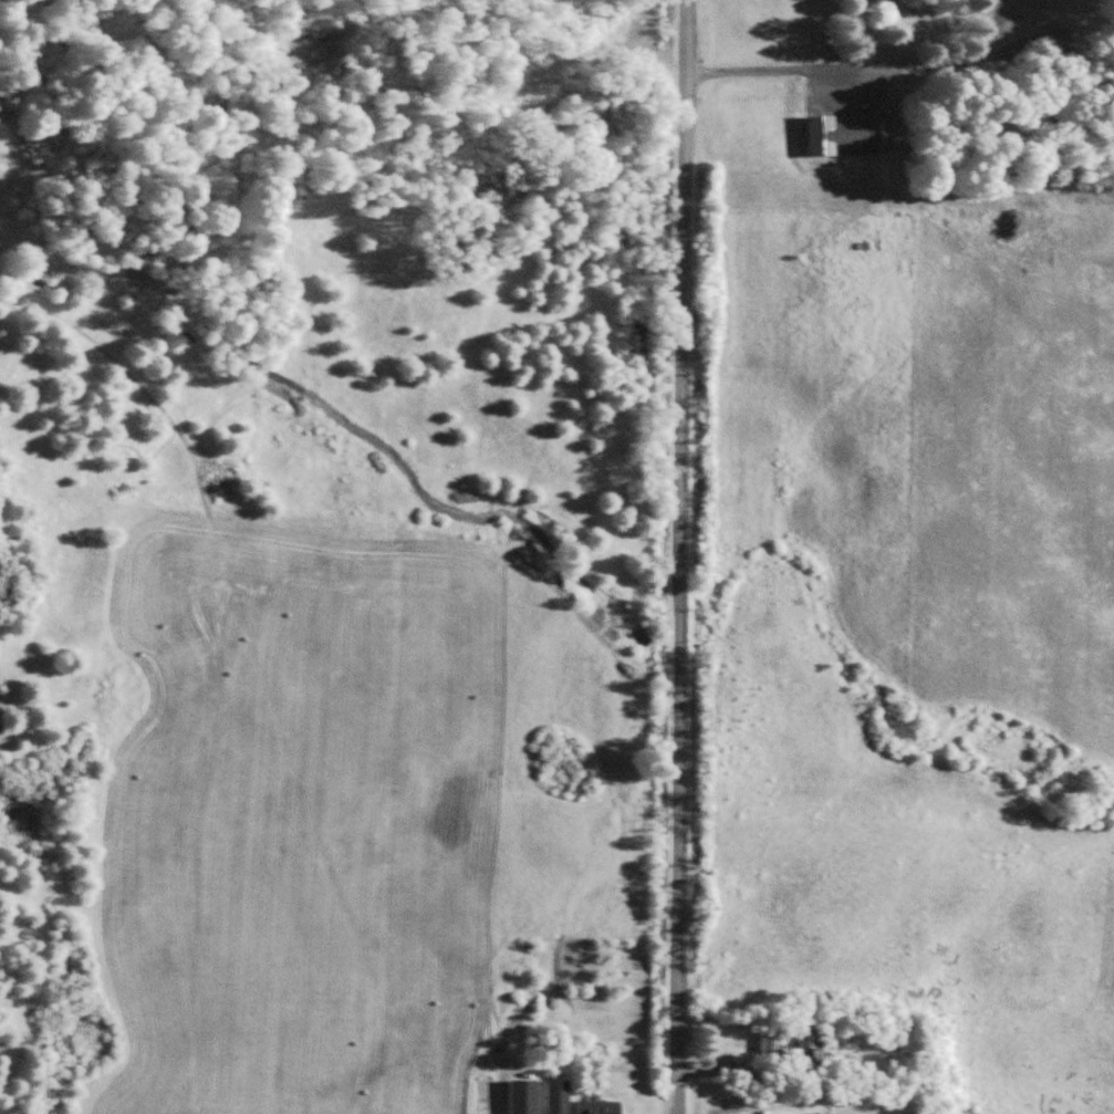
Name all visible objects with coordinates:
building: (1055, 10)
road: (824, 70)
building: (851, 135)
road: (683, 556)
building: (811, 1038)
building: (771, 1042)
building: (523, 1096)
building: (558, 1096)
building: (600, 1107)
road: (851, 1108)
building: (820, 1113)

